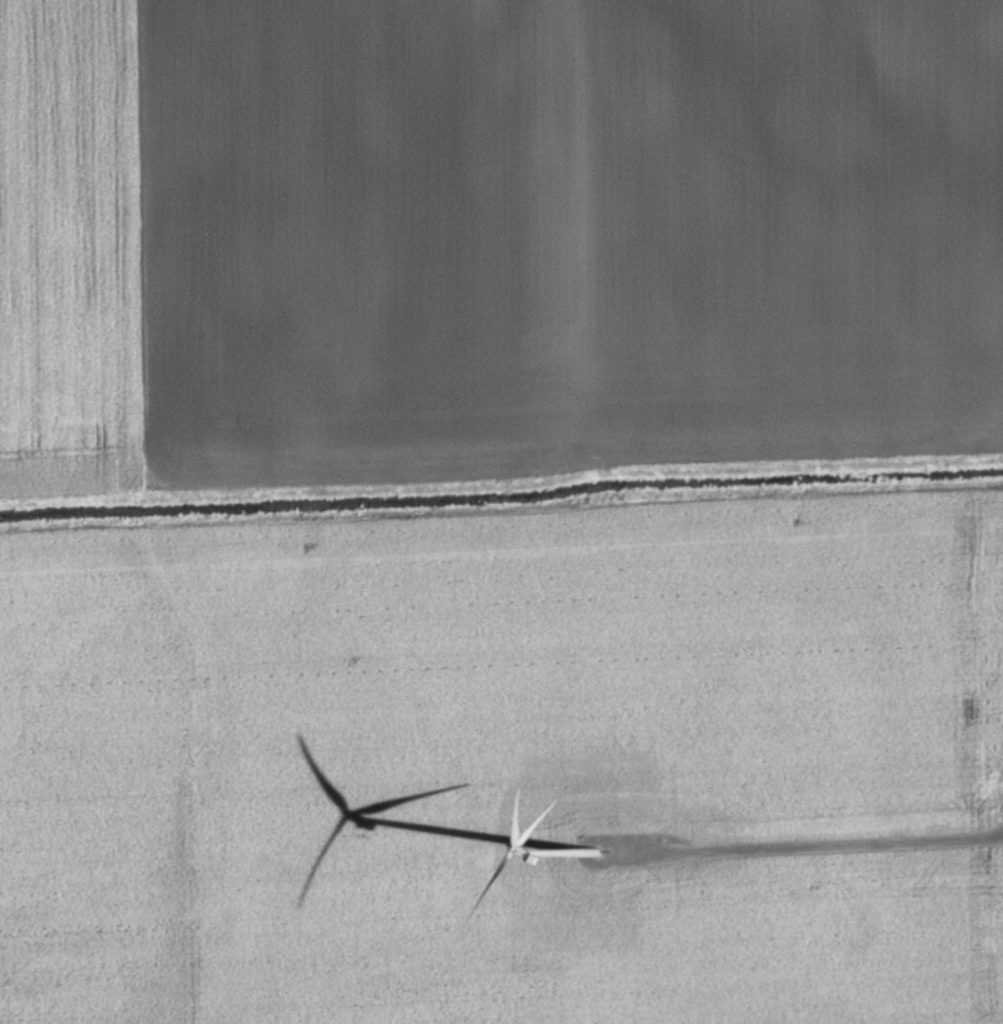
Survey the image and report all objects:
road: (831, 840)
wind turbine: (583, 855)

